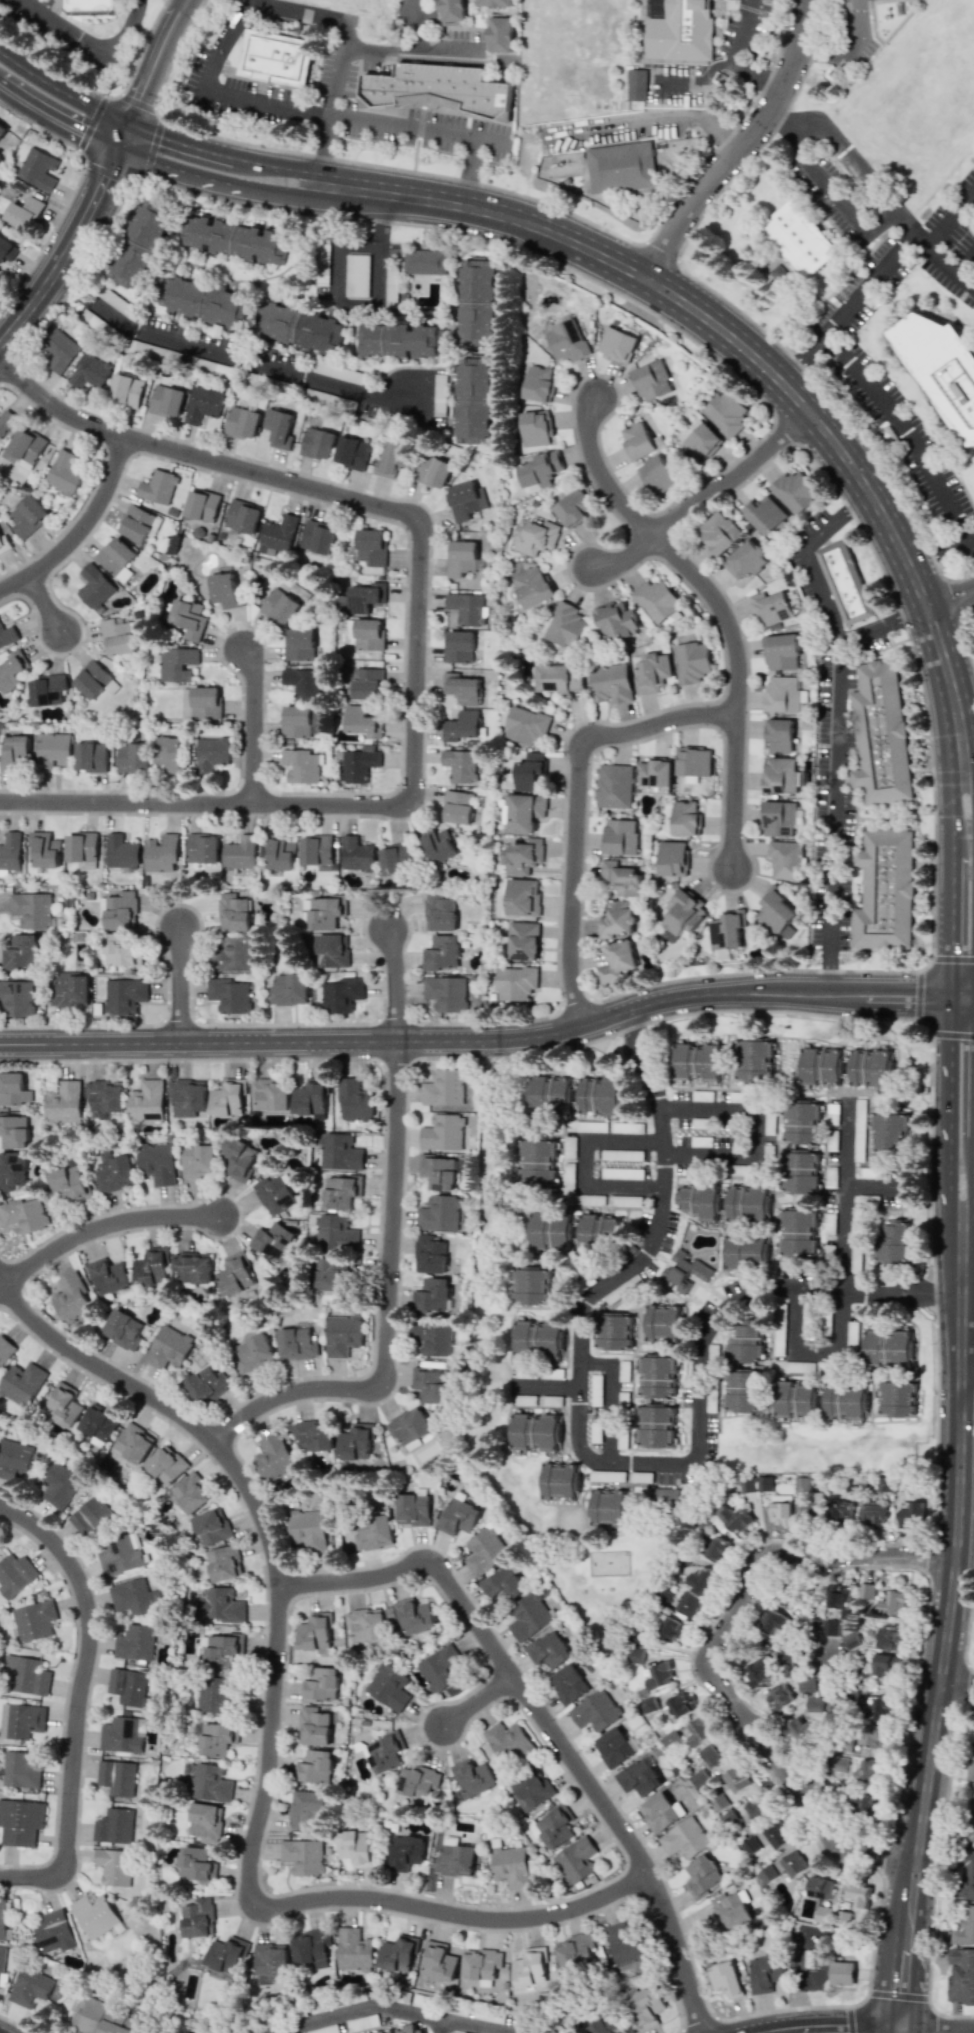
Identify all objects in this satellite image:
building: (494, 2)
building: (94, 6)
building: (451, 9)
road: (753, 10)
road: (310, 12)
road: (485, 19)
road: (64, 26)
road: (448, 27)
road: (125, 31)
building: (682, 32)
building: (499, 34)
road: (847, 47)
road: (405, 48)
road: (446, 49)
road: (739, 57)
building: (275, 59)
road: (158, 60)
building: (636, 84)
building: (439, 88)
road: (63, 90)
road: (104, 95)
road: (335, 104)
road: (308, 109)
road: (775, 120)
road: (58, 121)
road: (643, 121)
traffic signals: (131, 124)
building: (2, 128)
road: (125, 137)
road: (416, 138)
road: (180, 142)
road: (742, 145)
traffic signals: (120, 151)
road: (849, 154)
road: (278, 165)
building: (620, 166)
building: (37, 169)
road: (177, 172)
road: (470, 174)
road: (481, 184)
road: (831, 190)
road: (280, 195)
building: (23, 213)
road: (949, 218)
road: (904, 225)
building: (799, 238)
building: (235, 239)
road: (919, 239)
parking lot: (951, 241)
building: (141, 243)
road: (378, 248)
building: (6, 249)
road: (69, 259)
building: (425, 261)
road: (965, 261)
road: (948, 265)
road: (336, 274)
building: (357, 275)
building: (205, 301)
building: (476, 301)
road: (732, 306)
building: (301, 328)
building: (403, 339)
building: (566, 341)
building: (616, 344)
building: (60, 350)
road: (209, 352)
road: (758, 355)
road: (804, 358)
building: (940, 367)
building: (90, 371)
building: (337, 372)
building: (652, 381)
road: (865, 383)
building: (538, 384)
building: (126, 389)
parking lot: (891, 395)
building: (167, 400)
building: (473, 400)
building: (203, 404)
building: (726, 412)
building: (6, 420)
building: (243, 422)
building: (279, 428)
building: (536, 428)
building: (637, 440)
building: (701, 442)
building: (318, 443)
building: (26, 447)
building: (352, 453)
building: (391, 459)
building: (540, 469)
building: (433, 471)
building: (64, 473)
building: (657, 474)
building: (158, 487)
road: (702, 491)
building: (794, 491)
building: (466, 500)
building: (202, 505)
building: (573, 508)
building: (765, 514)
building: (28, 515)
building: (242, 516)
building: (137, 524)
road: (81, 531)
building: (719, 532)
building: (278, 535)
building: (318, 537)
building: (535, 537)
building: (4, 544)
building: (369, 546)
road: (938, 551)
building: (116, 555)
building: (461, 557)
building: (745, 560)
building: (373, 570)
building: (845, 582)
building: (533, 586)
building: (95, 587)
building: (225, 589)
building: (366, 597)
road: (950, 598)
building: (656, 600)
road: (46, 605)
building: (280, 606)
building: (466, 608)
road: (719, 608)
building: (773, 609)
building: (188, 618)
building: (616, 621)
building: (566, 625)
road: (880, 625)
building: (368, 634)
building: (7, 635)
building: (118, 636)
road: (417, 637)
road: (962, 638)
building: (300, 645)
building: (459, 647)
building: (782, 652)
building: (691, 662)
building: (178, 664)
building: (12, 670)
building: (651, 673)
building: (553, 678)
building: (95, 680)
building: (303, 683)
building: (365, 683)
building: (611, 684)
building: (48, 689)
building: (465, 689)
building: (782, 693)
building: (204, 703)
building: (296, 721)
building: (362, 721)
road: (838, 722)
road: (254, 724)
building: (464, 724)
building: (526, 724)
building: (879, 733)
building: (779, 735)
building: (53, 751)
building: (211, 753)
building: (170, 754)
building: (91, 757)
building: (133, 757)
building: (693, 762)
building: (358, 763)
building: (301, 765)
building: (460, 765)
building: (530, 772)
building: (654, 772)
building: (780, 775)
road: (969, 781)
building: (614, 785)
building: (457, 807)
road: (575, 808)
building: (526, 812)
building: (685, 818)
building: (779, 818)
building: (620, 836)
building: (437, 845)
building: (81, 847)
building: (202, 848)
building: (45, 849)
building: (316, 850)
building: (10, 851)
building: (122, 852)
building: (161, 853)
building: (240, 853)
building: (281, 853)
building: (356, 854)
building: (523, 856)
building: (395, 858)
building: (672, 858)
building: (785, 859)
building: (620, 878)
road: (952, 881)
building: (884, 890)
building: (522, 897)
building: (32, 910)
building: (121, 910)
building: (326, 911)
building: (234, 912)
building: (439, 912)
building: (776, 912)
building: (684, 913)
building: (618, 919)
building: (726, 929)
building: (523, 940)
building: (332, 950)
building: (21, 952)
building: (122, 952)
building: (441, 953)
building: (233, 956)
building: (617, 961)
building: (515, 982)
road: (180, 985)
building: (71, 989)
building: (289, 989)
building: (451, 993)
building: (229, 995)
building: (341, 995)
building: (124, 996)
building: (17, 998)
road: (490, 1039)
building: (752, 1059)
building: (698, 1062)
building: (821, 1066)
building: (872, 1069)
building: (13, 1089)
building: (443, 1089)
building: (270, 1094)
building: (555, 1094)
building: (600, 1096)
building: (104, 1097)
building: (187, 1097)
building: (228, 1098)
building: (311, 1099)
building: (354, 1099)
building: (147, 1101)
building: (64, 1103)
road: (944, 1109)
building: (801, 1121)
building: (591, 1126)
building: (832, 1127)
road: (757, 1129)
building: (14, 1132)
building: (442, 1132)
building: (889, 1132)
road: (973, 1132)
building: (700, 1141)
building: (569, 1146)
building: (339, 1151)
building: (240, 1158)
building: (199, 1160)
road: (582, 1162)
building: (158, 1163)
building: (537, 1163)
building: (12, 1170)
building: (800, 1171)
building: (115, 1172)
building: (440, 1172)
building: (831, 1176)
building: (568, 1177)
road: (973, 1181)
building: (69, 1186)
building: (341, 1191)
road: (876, 1192)
building: (276, 1194)
road: (844, 1197)
building: (867, 1199)
building: (699, 1200)
building: (748, 1203)
building: (441, 1213)
building: (24, 1215)
road: (103, 1227)
building: (574, 1231)
building: (335, 1232)
building: (798, 1233)
building: (275, 1240)
building: (892, 1240)
road: (388, 1248)
building: (745, 1251)
building: (828, 1251)
building: (431, 1253)
building: (152, 1266)
building: (193, 1267)
building: (683, 1271)
building: (329, 1273)
building: (236, 1274)
building: (110, 1276)
building: (531, 1285)
building: (434, 1294)
road: (901, 1296)
building: (71, 1297)
building: (825, 1322)
building: (663, 1323)
building: (778, 1329)
building: (123, 1330)
building: (613, 1332)
building: (345, 1334)
building: (434, 1337)
building: (538, 1338)
building: (299, 1340)
building: (746, 1344)
building: (888, 1346)
building: (5, 1348)
building: (169, 1348)
building: (254, 1353)
building: (623, 1371)
building: (657, 1375)
building: (22, 1383)
building: (432, 1384)
building: (207, 1385)
road: (968, 1385)
building: (744, 1391)
building: (796, 1399)
building: (896, 1399)
road: (607, 1400)
building: (845, 1401)
building: (64, 1405)
building: (100, 1424)
building: (408, 1426)
building: (656, 1427)
building: (535, 1432)
building: (313, 1435)
building: (357, 1440)
building: (135, 1442)
building: (274, 1457)
building: (14, 1458)
road: (594, 1459)
building: (167, 1464)
building: (560, 1481)
building: (801, 1483)
building: (60, 1485)
building: (192, 1494)
building: (664, 1497)
building: (414, 1506)
building: (608, 1507)
building: (780, 1509)
building: (813, 1509)
building: (840, 1509)
building: (460, 1513)
building: (873, 1514)
building: (911, 1516)
building: (92, 1517)
building: (735, 1518)
building: (213, 1526)
building: (308, 1529)
building: (373, 1534)
building: (717, 1550)
building: (484, 1551)
building: (121, 1555)
building: (226, 1562)
building: (15, 1574)
building: (702, 1579)
building: (504, 1584)
building: (866, 1590)
building: (131, 1596)
building: (838, 1597)
building: (792, 1601)
building: (893, 1603)
building: (220, 1604)
building: (689, 1604)
building: (415, 1616)
building: (528, 1617)
building: (34, 1620)
building: (366, 1623)
building: (773, 1623)
road: (950, 1627)
building: (670, 1629)
building: (315, 1632)
building: (888, 1638)
building: (851, 1640)
building: (134, 1642)
building: (222, 1648)
building: (549, 1650)
building: (634, 1655)
road: (705, 1655)
building: (882, 1664)
building: (440, 1668)
building: (759, 1670)
building: (26, 1674)
building: (659, 1676)
road: (958, 1680)
building: (321, 1684)
building: (568, 1684)
building: (127, 1686)
building: (389, 1687)
building: (215, 1693)
road: (82, 1697)
building: (779, 1697)
road: (957, 1698)
road: (480, 1700)
building: (680, 1705)
building: (877, 1707)
building: (595, 1711)
building: (811, 1718)
building: (21, 1720)
road: (546, 1720)
building: (314, 1726)
road: (835, 1730)
building: (698, 1731)
road: (270, 1734)
building: (120, 1735)
building: (876, 1736)
building: (216, 1738)
building: (613, 1747)
building: (386, 1751)
building: (714, 1753)
building: (971, 1761)
building: (840, 1763)
building: (318, 1766)
building: (19, 1770)
building: (868, 1773)
building: (474, 1776)
building: (117, 1777)
building: (639, 1778)
building: (736, 1779)
building: (419, 1781)
building: (209, 1782)
building: (532, 1790)
building: (308, 1805)
building: (864, 1805)
building: (758, 1808)
building: (660, 1811)
building: (969, 1816)
building: (21, 1821)
building: (207, 1822)
building: (114, 1826)
building: (555, 1827)
building: (777, 1835)
building: (684, 1838)
building: (750, 1845)
building: (356, 1846)
building: (407, 1852)
building: (304, 1856)
building: (455, 1858)
building: (575, 1860)
building: (198, 1864)
building: (794, 1864)
building: (114, 1866)
building: (511, 1866)
building: (767, 1874)
building: (702, 1876)
building: (966, 1876)
building: (819, 1888)
building: (732, 1910)
building: (823, 1913)
building: (95, 1915)
building: (200, 1918)
building: (2, 1919)
building: (964, 1928)
building: (54, 1931)
building: (312, 1947)
building: (626, 1947)
building: (354, 1950)
building: (574, 1951)
building: (399, 1954)
building: (227, 1958)
building: (1, 1961)
building: (273, 1962)
building: (439, 1962)
building: (481, 1963)
building: (530, 1966)
building: (765, 1972)
building: (841, 1973)
building: (960, 1976)
building: (725, 1979)
building: (30, 1986)
road: (363, 2006)
building: (645, 2008)
building: (99, 2018)
building: (608, 2022)
road: (477, 2027)
road: (837, 2028)
road: (935, 2028)
building: (404, 2029)
road: (895, 2030)
road: (898, 2030)

